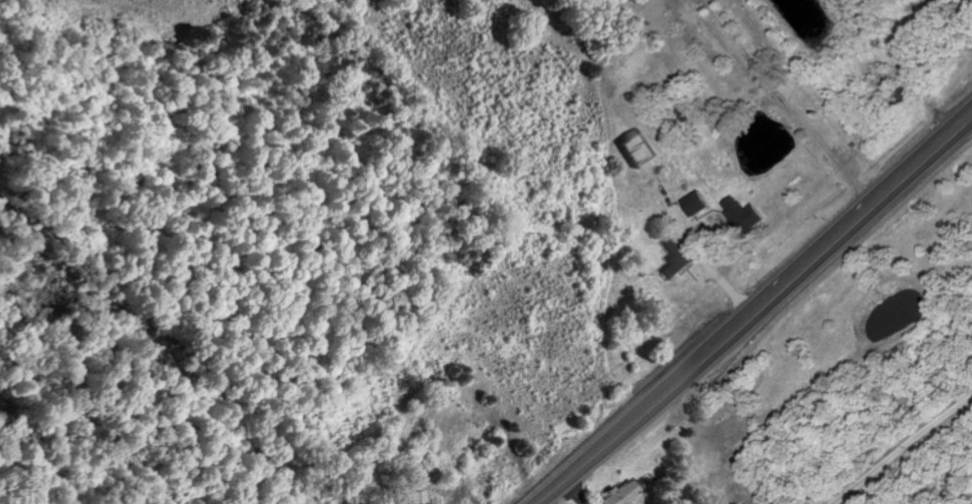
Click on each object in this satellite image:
building: (639, 150)
building: (697, 205)
building: (743, 215)
building: (676, 260)
road: (758, 315)
road: (805, 379)
building: (623, 492)

